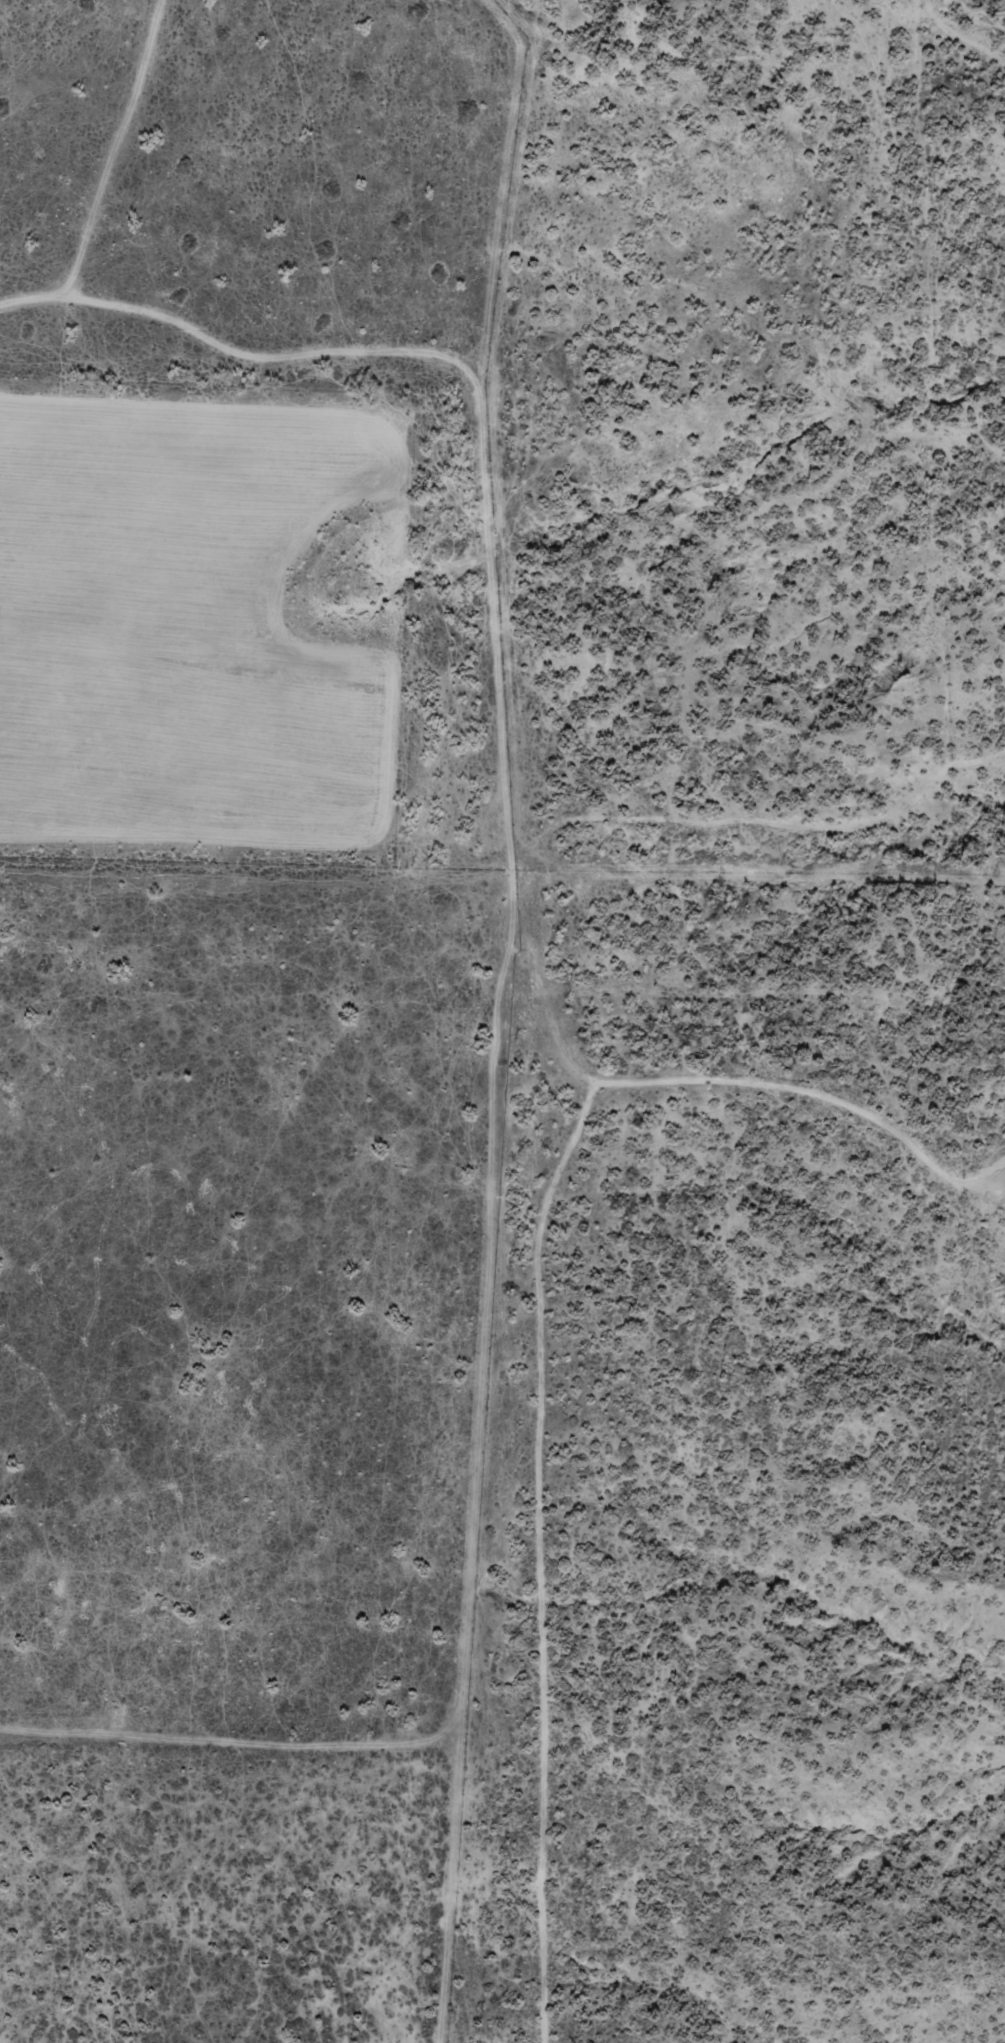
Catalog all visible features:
road: (125, 166)

